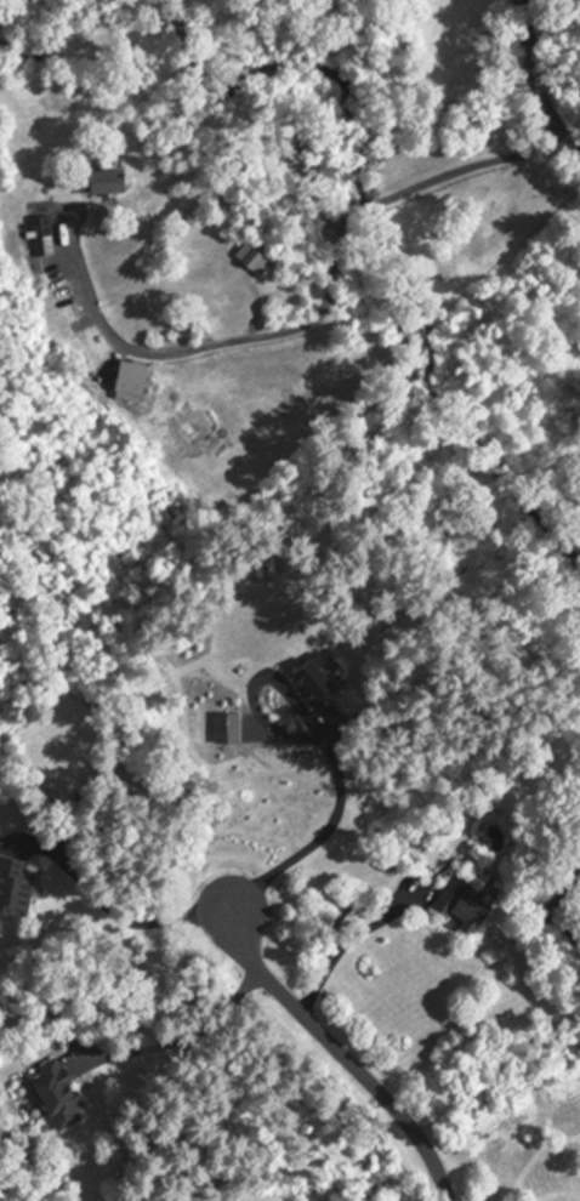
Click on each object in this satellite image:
road: (531, 86)
road: (471, 166)
building: (108, 180)
road: (370, 206)
building: (40, 238)
building: (251, 261)
road: (212, 346)
building: (130, 385)
building: (308, 689)
road: (325, 829)
building: (16, 888)
building: (462, 909)
road: (115, 915)
road: (343, 944)
road: (188, 1031)
road: (345, 1057)
building: (57, 1094)

